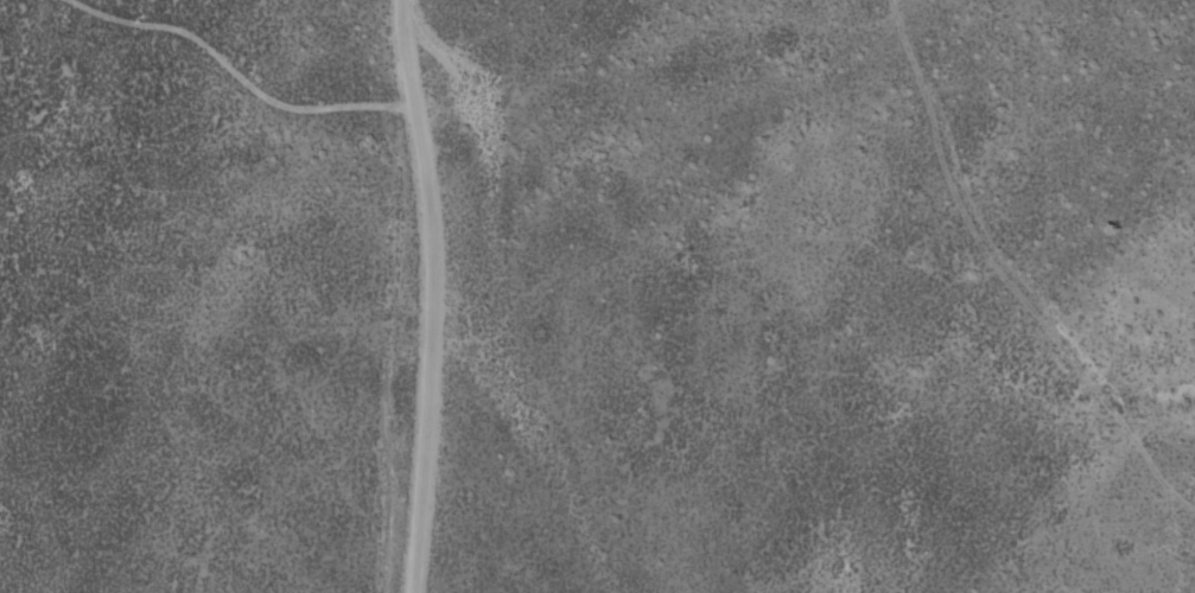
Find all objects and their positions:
road: (1048, 257)
road: (501, 293)

